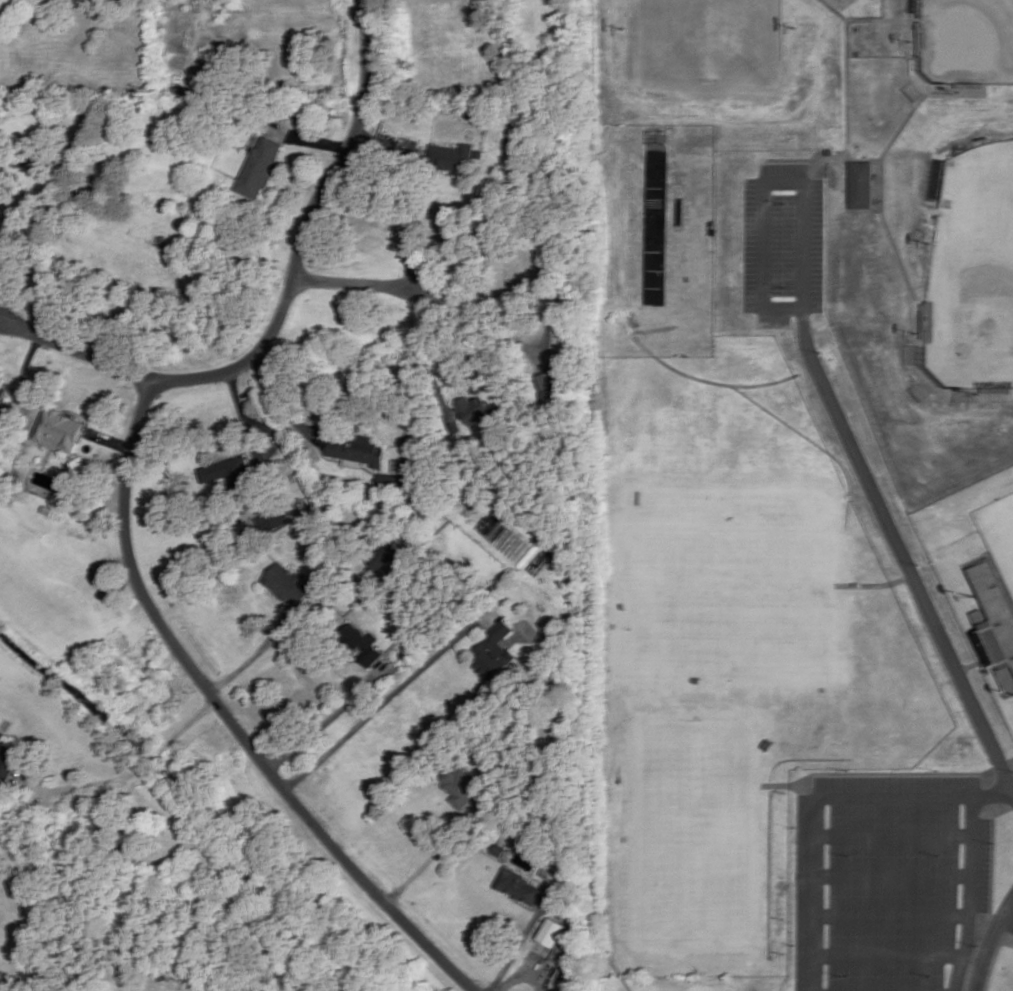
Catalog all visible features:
park: (970, 41)
road: (318, 139)
building: (481, 151)
building: (455, 155)
building: (260, 166)
building: (861, 185)
road: (305, 231)
road: (409, 236)
parking lot: (781, 245)
park: (975, 270)
road: (359, 283)
road: (486, 326)
road: (75, 348)
road: (26, 376)
building: (552, 381)
road: (270, 393)
road: (1012, 401)
building: (474, 409)
road: (265, 420)
building: (58, 430)
road: (110, 438)
building: (361, 447)
building: (230, 470)
building: (49, 508)
building: (276, 517)
building: (384, 554)
road: (904, 557)
building: (289, 580)
building: (995, 619)
building: (366, 640)
building: (495, 649)
road: (256, 652)
road: (387, 697)
road: (229, 716)
road: (329, 717)
building: (9, 753)
road: (1012, 760)
road: (126, 772)
building: (461, 781)
road: (819, 799)
road: (892, 836)
building: (501, 848)
road: (436, 851)
building: (546, 871)
road: (892, 877)
parking lot: (887, 882)
building: (519, 884)
road: (969, 894)
road: (891, 917)
parking lot: (1009, 925)
building: (553, 929)
road: (519, 942)
road: (990, 942)
road: (1012, 942)
road: (889, 957)
road: (995, 960)
road: (527, 966)

